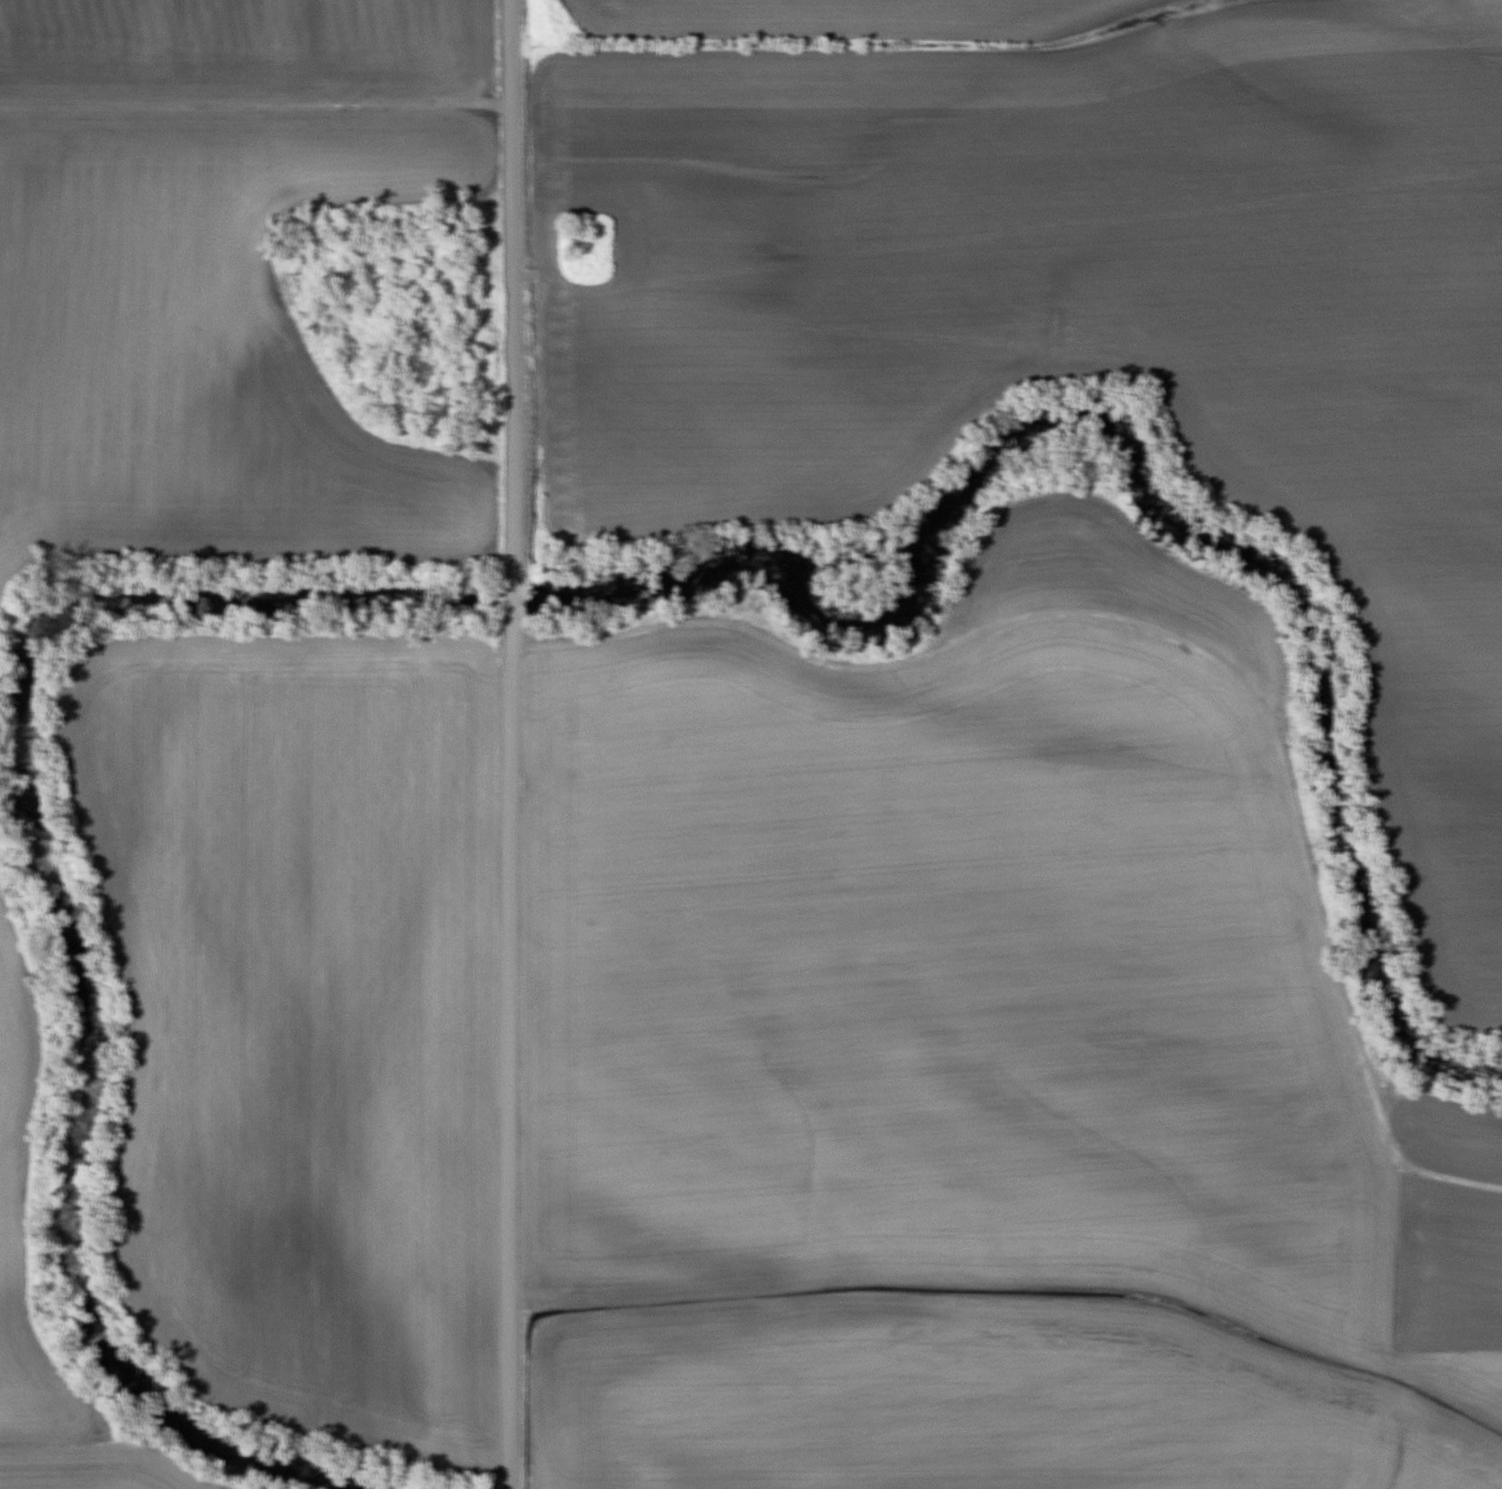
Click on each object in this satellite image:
road: (511, 744)

